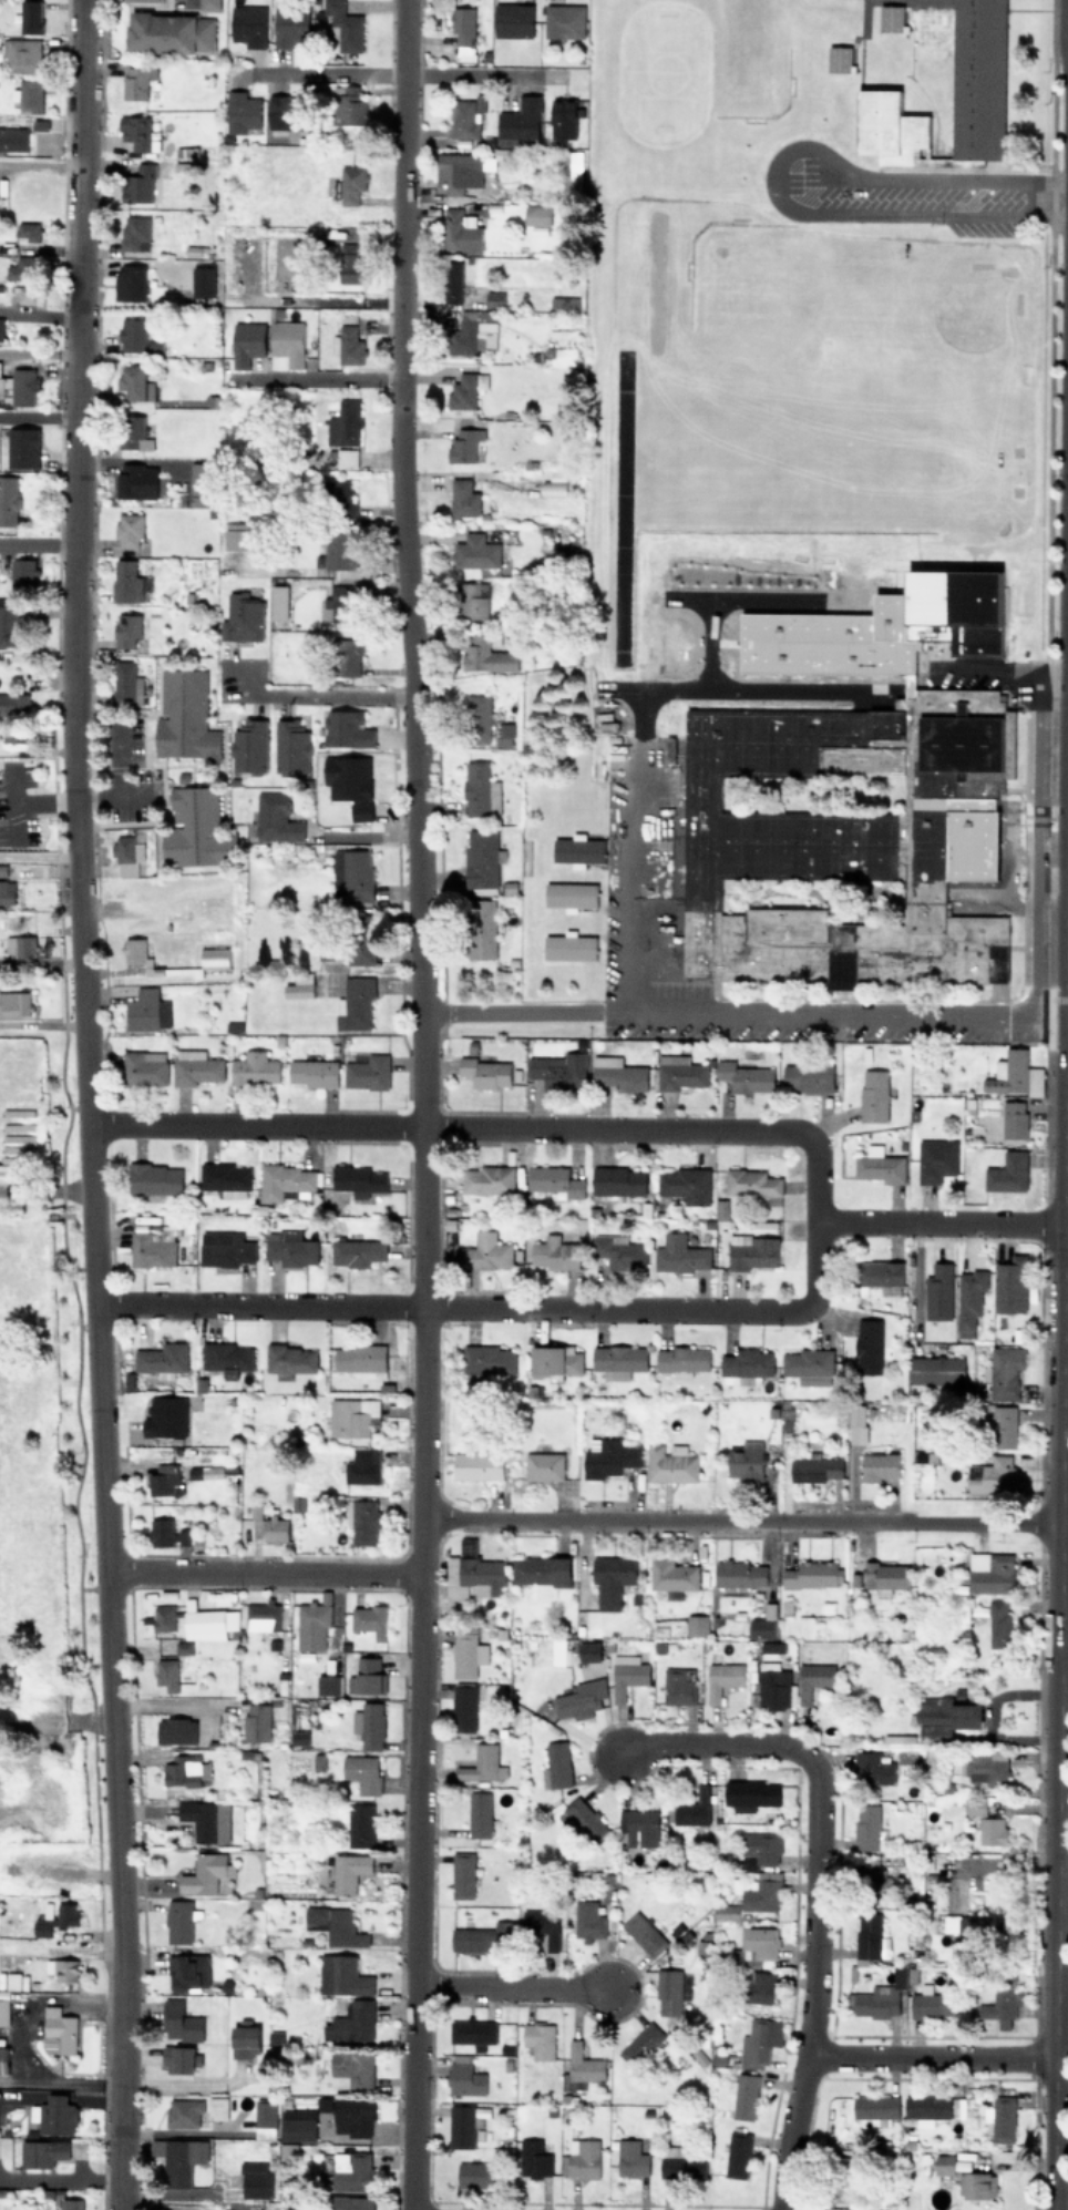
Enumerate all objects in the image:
building: (144, 0)
building: (208, 4)
building: (31, 16)
building: (891, 18)
building: (513, 20)
building: (564, 20)
building: (248, 24)
building: (463, 24)
building: (290, 25)
building: (345, 25)
building: (171, 32)
building: (979, 44)
building: (22, 54)
building: (839, 58)
park: (712, 59)
road: (329, 70)
road: (402, 72)
road: (480, 74)
building: (136, 81)
building: (30, 95)
building: (284, 111)
building: (240, 112)
building: (466, 116)
building: (563, 117)
building: (518, 121)
building: (135, 131)
building: (12, 139)
road: (40, 164)
building: (459, 172)
road: (771, 174)
building: (574, 178)
building: (351, 183)
building: (138, 184)
building: (536, 215)
building: (29, 231)
building: (460, 231)
building: (134, 233)
road: (965, 241)
building: (23, 267)
building: (352, 267)
building: (203, 280)
building: (130, 282)
building: (452, 282)
building: (25, 294)
park: (751, 294)
building: (494, 298)
road: (39, 314)
building: (2, 328)
building: (136, 336)
building: (347, 341)
building: (247, 342)
building: (286, 345)
road: (39, 352)
road: (331, 376)
building: (135, 382)
building: (1, 386)
building: (23, 386)
building: (464, 390)
road: (38, 416)
road: (398, 421)
building: (345, 423)
building: (134, 432)
building: (463, 444)
building: (22, 447)
building: (346, 458)
park: (792, 465)
building: (136, 480)
building: (201, 483)
building: (553, 489)
building: (463, 498)
building: (8, 500)
building: (340, 500)
track: (619, 507)
building: (129, 529)
building: (236, 535)
road: (37, 543)
building: (340, 550)
building: (475, 552)
building: (23, 574)
park: (709, 576)
building: (129, 582)
building: (474, 600)
building: (278, 602)
building: (337, 604)
building: (956, 607)
building: (242, 617)
building: (9, 623)
building: (126, 630)
building: (486, 655)
building: (347, 656)
road: (969, 674)
building: (126, 683)
road: (309, 696)
building: (14, 703)
building: (184, 716)
building: (479, 719)
building: (347, 728)
road: (1067, 729)
building: (502, 734)
building: (249, 746)
building: (291, 746)
road: (1067, 764)
building: (347, 777)
road: (626, 778)
building: (480, 790)
road: (48, 800)
building: (361, 810)
building: (276, 818)
park: (980, 822)
building: (196, 829)
building: (841, 838)
road: (1034, 845)
building: (577, 849)
building: (127, 852)
building: (482, 860)
road: (38, 861)
road: (1066, 863)
building: (352, 874)
park: (980, 878)
building: (7, 891)
building: (571, 894)
building: (482, 928)
building: (361, 939)
building: (17, 945)
building: (569, 945)
building: (134, 950)
building: (214, 955)
road: (40, 962)
building: (299, 985)
building: (14, 1003)
building: (355, 1003)
building: (146, 1010)
road: (726, 1010)
road: (1047, 1014)
road: (1065, 1039)
building: (144, 1066)
building: (195, 1066)
building: (255, 1068)
building: (366, 1070)
building: (559, 1071)
building: (314, 1072)
building: (485, 1072)
building: (679, 1072)
building: (618, 1073)
building: (1015, 1074)
building: (746, 1076)
building: (808, 1077)
building: (873, 1095)
road: (85, 1104)
building: (1014, 1118)
road: (490, 1126)
building: (936, 1159)
building: (880, 1165)
building: (1008, 1173)
building: (154, 1178)
building: (225, 1178)
building: (358, 1179)
building: (487, 1179)
building: (554, 1180)
building: (618, 1180)
building: (286, 1181)
building: (685, 1184)
building: (754, 1184)
road: (44, 1191)
road: (865, 1221)
road: (990, 1222)
road: (1065, 1231)
building: (153, 1245)
building: (290, 1247)
building: (225, 1249)
building: (357, 1251)
building: (486, 1251)
building: (619, 1251)
building: (752, 1251)
building: (555, 1252)
building: (680, 1254)
building: (881, 1276)
building: (1010, 1285)
building: (938, 1291)
road: (917, 1295)
building: (969, 1300)
road: (492, 1306)
building: (869, 1346)
building: (226, 1358)
building: (162, 1359)
building: (290, 1359)
building: (361, 1360)
building: (555, 1360)
building: (618, 1360)
building: (682, 1360)
building: (487, 1361)
building: (746, 1365)
building: (809, 1365)
building: (936, 1370)
building: (1005, 1371)
building: (165, 1416)
building: (352, 1416)
building: (856, 1424)
building: (1005, 1424)
road: (1059, 1442)
road: (421, 1453)
building: (608, 1456)
park: (39, 1459)
building: (746, 1459)
building: (670, 1463)
building: (477, 1465)
building: (544, 1465)
building: (362, 1466)
building: (879, 1466)
building: (817, 1467)
road: (1064, 1467)
building: (995, 1475)
building: (164, 1480)
road: (739, 1513)
building: (362, 1521)
building: (275, 1528)
building: (161, 1532)
building: (182, 1537)
building: (992, 1572)
road: (259, 1573)
building: (542, 1573)
building: (740, 1574)
building: (813, 1574)
building: (885, 1575)
building: (473, 1576)
building: (672, 1576)
building: (613, 1579)
building: (263, 1615)
building: (164, 1617)
building: (370, 1619)
building: (312, 1621)
building: (208, 1623)
building: (999, 1623)
building: (697, 1625)
building: (761, 1628)
building: (183, 1647)
road: (1062, 1648)
building: (588, 1650)
building: (466, 1654)
building: (166, 1674)
building: (366, 1676)
building: (627, 1676)
building: (722, 1678)
building: (813, 1679)
building: (328, 1684)
building: (678, 1686)
building: (776, 1689)
building: (579, 1699)
building: (464, 1707)
road: (165, 1709)
building: (946, 1716)
building: (257, 1721)
building: (369, 1725)
building: (299, 1737)
road: (713, 1742)
building: (483, 1763)
building: (558, 1763)
building: (985, 1767)
building: (873, 1768)
building: (185, 1770)
building: (362, 1772)
building: (751, 1794)
building: (974, 1805)
building: (695, 1810)
building: (479, 1814)
building: (585, 1819)
building: (206, 1820)
building: (360, 1824)
building: (639, 1827)
building: (867, 1827)
building: (993, 1830)
building: (761, 1849)
building: (41, 1868)
building: (349, 1871)
building: (204, 1873)
building: (462, 1874)
building: (872, 1879)
building: (763, 1892)
building: (727, 1912)
building: (57, 1920)
building: (178, 1921)
building: (587, 1921)
building: (541, 1922)
building: (335, 1925)
building: (966, 1925)
road: (1060, 1925)
building: (644, 1934)
building: (871, 1936)
building: (483, 1937)
building: (761, 1944)
building: (62, 1968)
building: (188, 1971)
building: (342, 1975)
road: (1060, 1978)
road: (812, 1984)
road: (506, 1985)
building: (759, 1987)
building: (668, 1991)
building: (884, 1994)
building: (1002, 2003)
building: (933, 2004)
building: (3, 2007)
road: (23, 2012)
building: (181, 2022)
building: (352, 2023)
road: (1060, 2026)
building: (473, 2029)
building: (58, 2030)
building: (538, 2038)
building: (641, 2043)
building: (757, 2043)
road: (928, 2055)
building: (178, 2058)
building: (3, 2059)
building: (582, 2066)
building: (351, 2069)
building: (464, 2078)
road: (54, 2083)
road: (178, 2085)
building: (743, 2094)
building: (875, 2105)
building: (927, 2105)
building: (217, 2107)
building: (183, 2112)
building: (55, 2115)
building: (352, 2116)
building: (1000, 2117)
building: (265, 2118)
building: (464, 2122)
building: (298, 2125)
building: (42, 2152)
building: (737, 2153)
building: (534, 2158)
building: (581, 2158)
building: (631, 2158)
building: (182, 2160)
building: (944, 2163)
building: (682, 2166)
building: (351, 2170)
building: (476, 2172)
road: (54, 2179)
building: (255, 2180)
building: (976, 2183)
road: (178, 2192)
building: (352, 2202)
building: (70, 2203)

